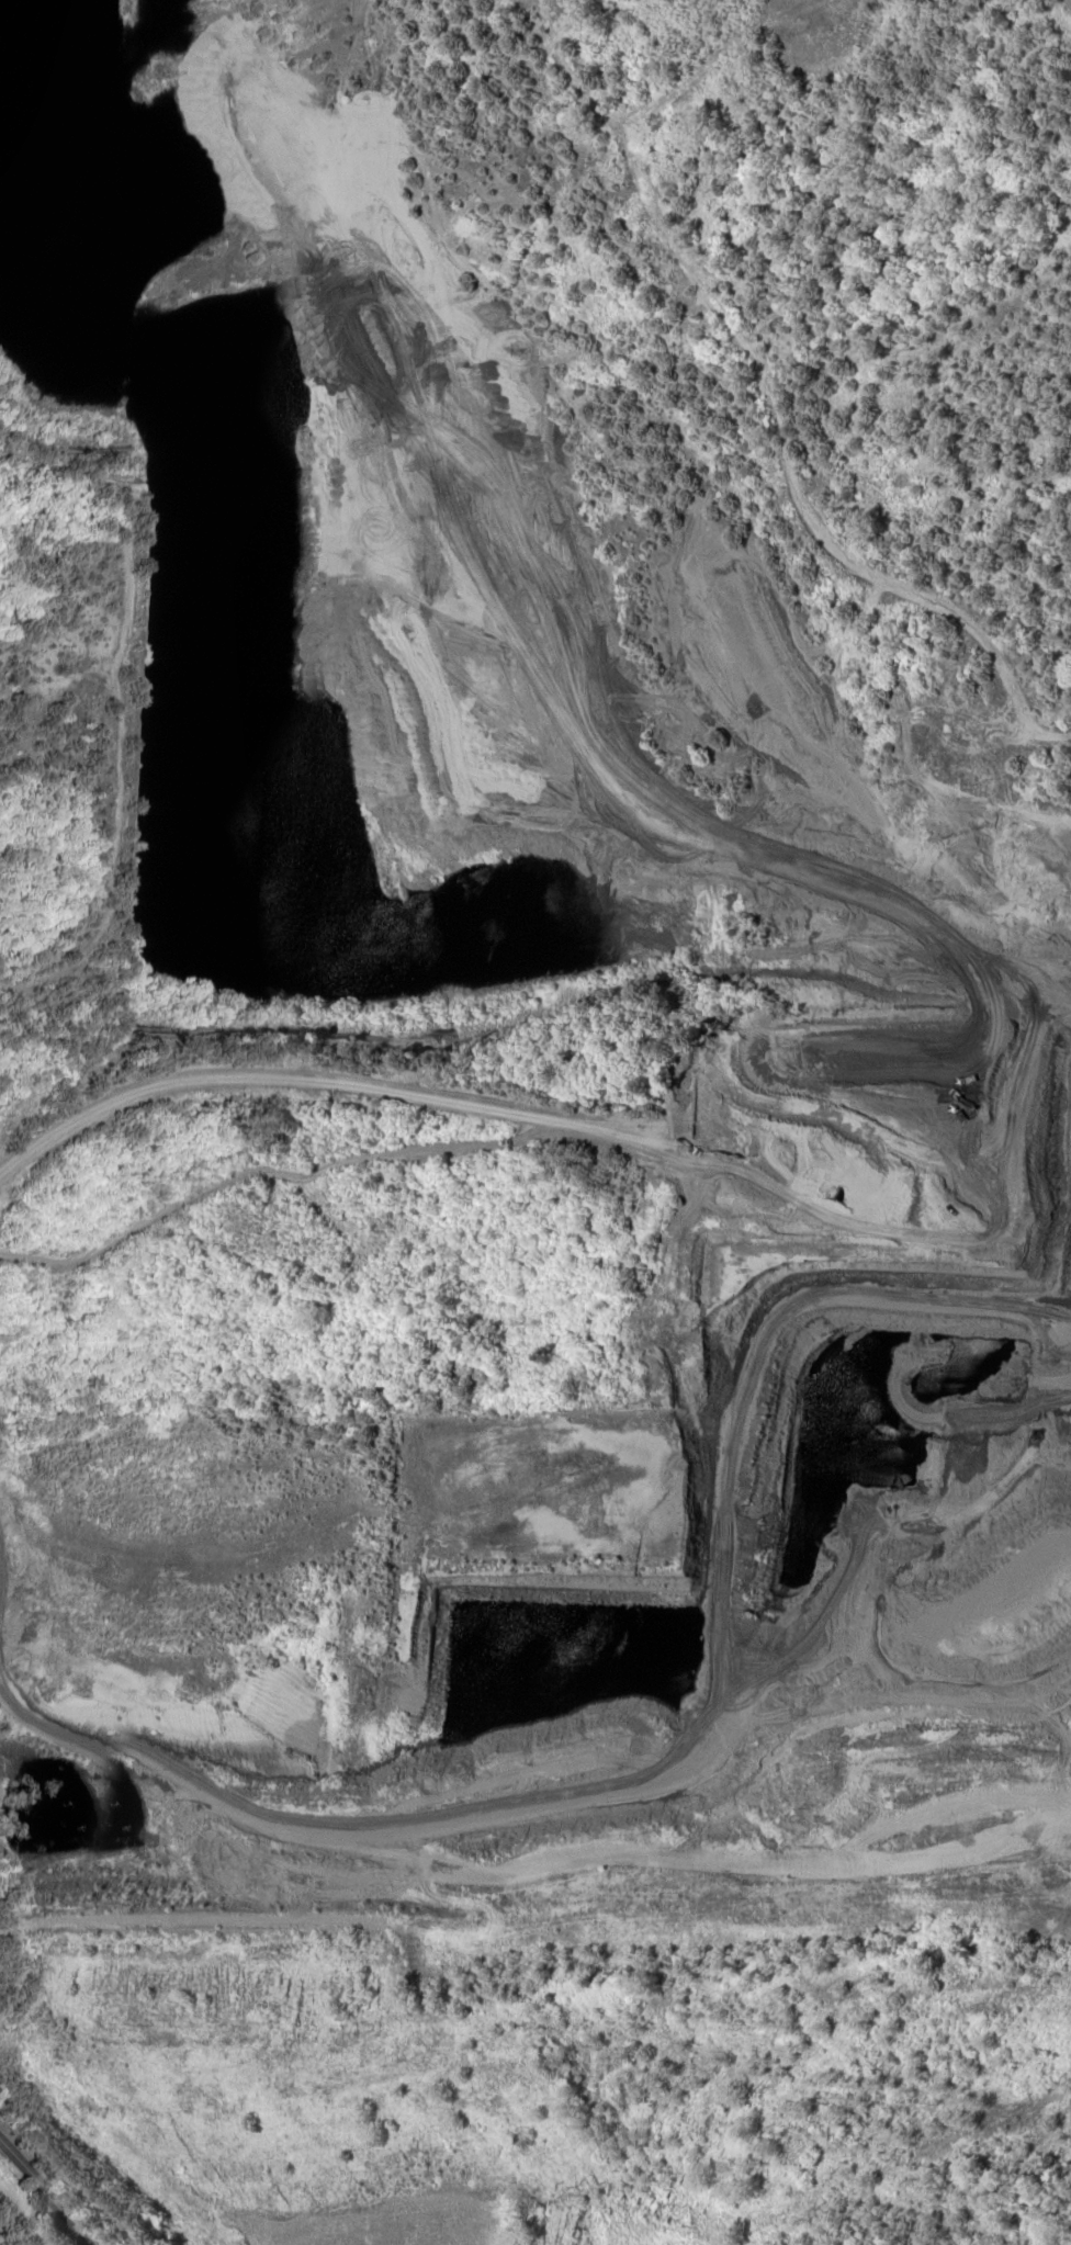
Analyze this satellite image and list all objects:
road: (687, 1229)
road: (508, 1618)
road: (50, 2195)

